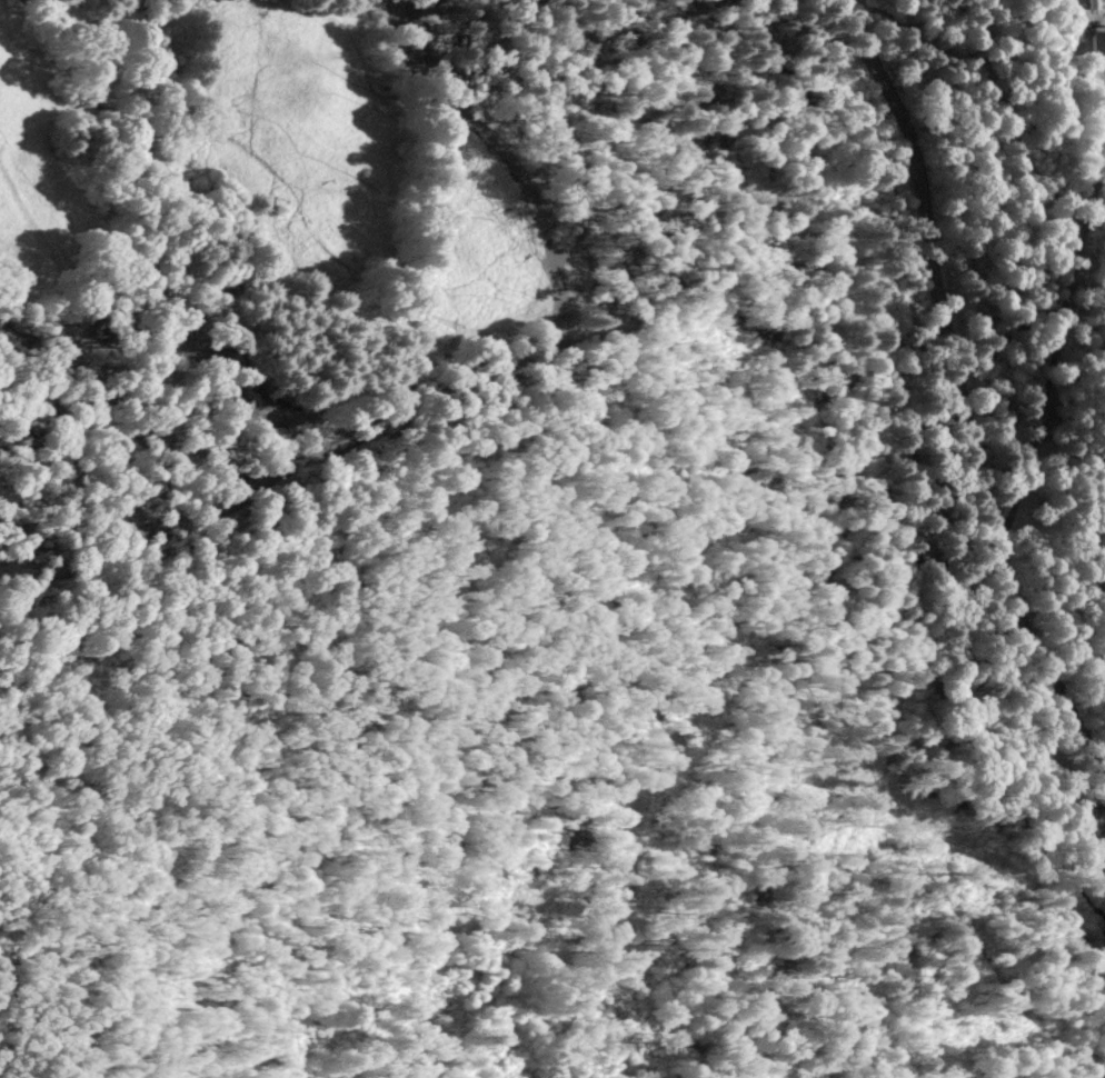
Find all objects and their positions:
building: (1096, 39)
road: (950, 349)

